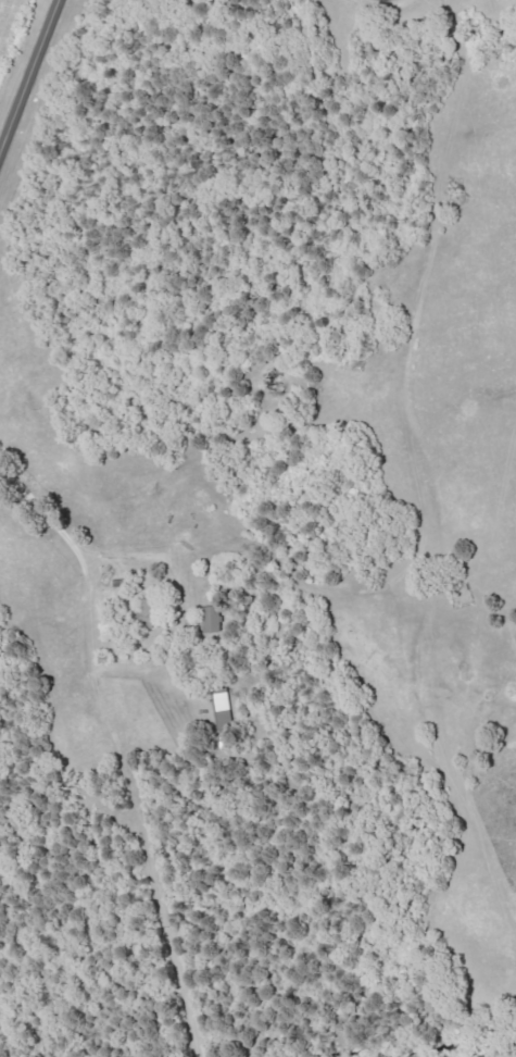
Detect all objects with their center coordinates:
road: (28, 76)
road: (177, 613)
building: (148, 614)
building: (214, 619)
building: (223, 708)
road: (115, 749)

